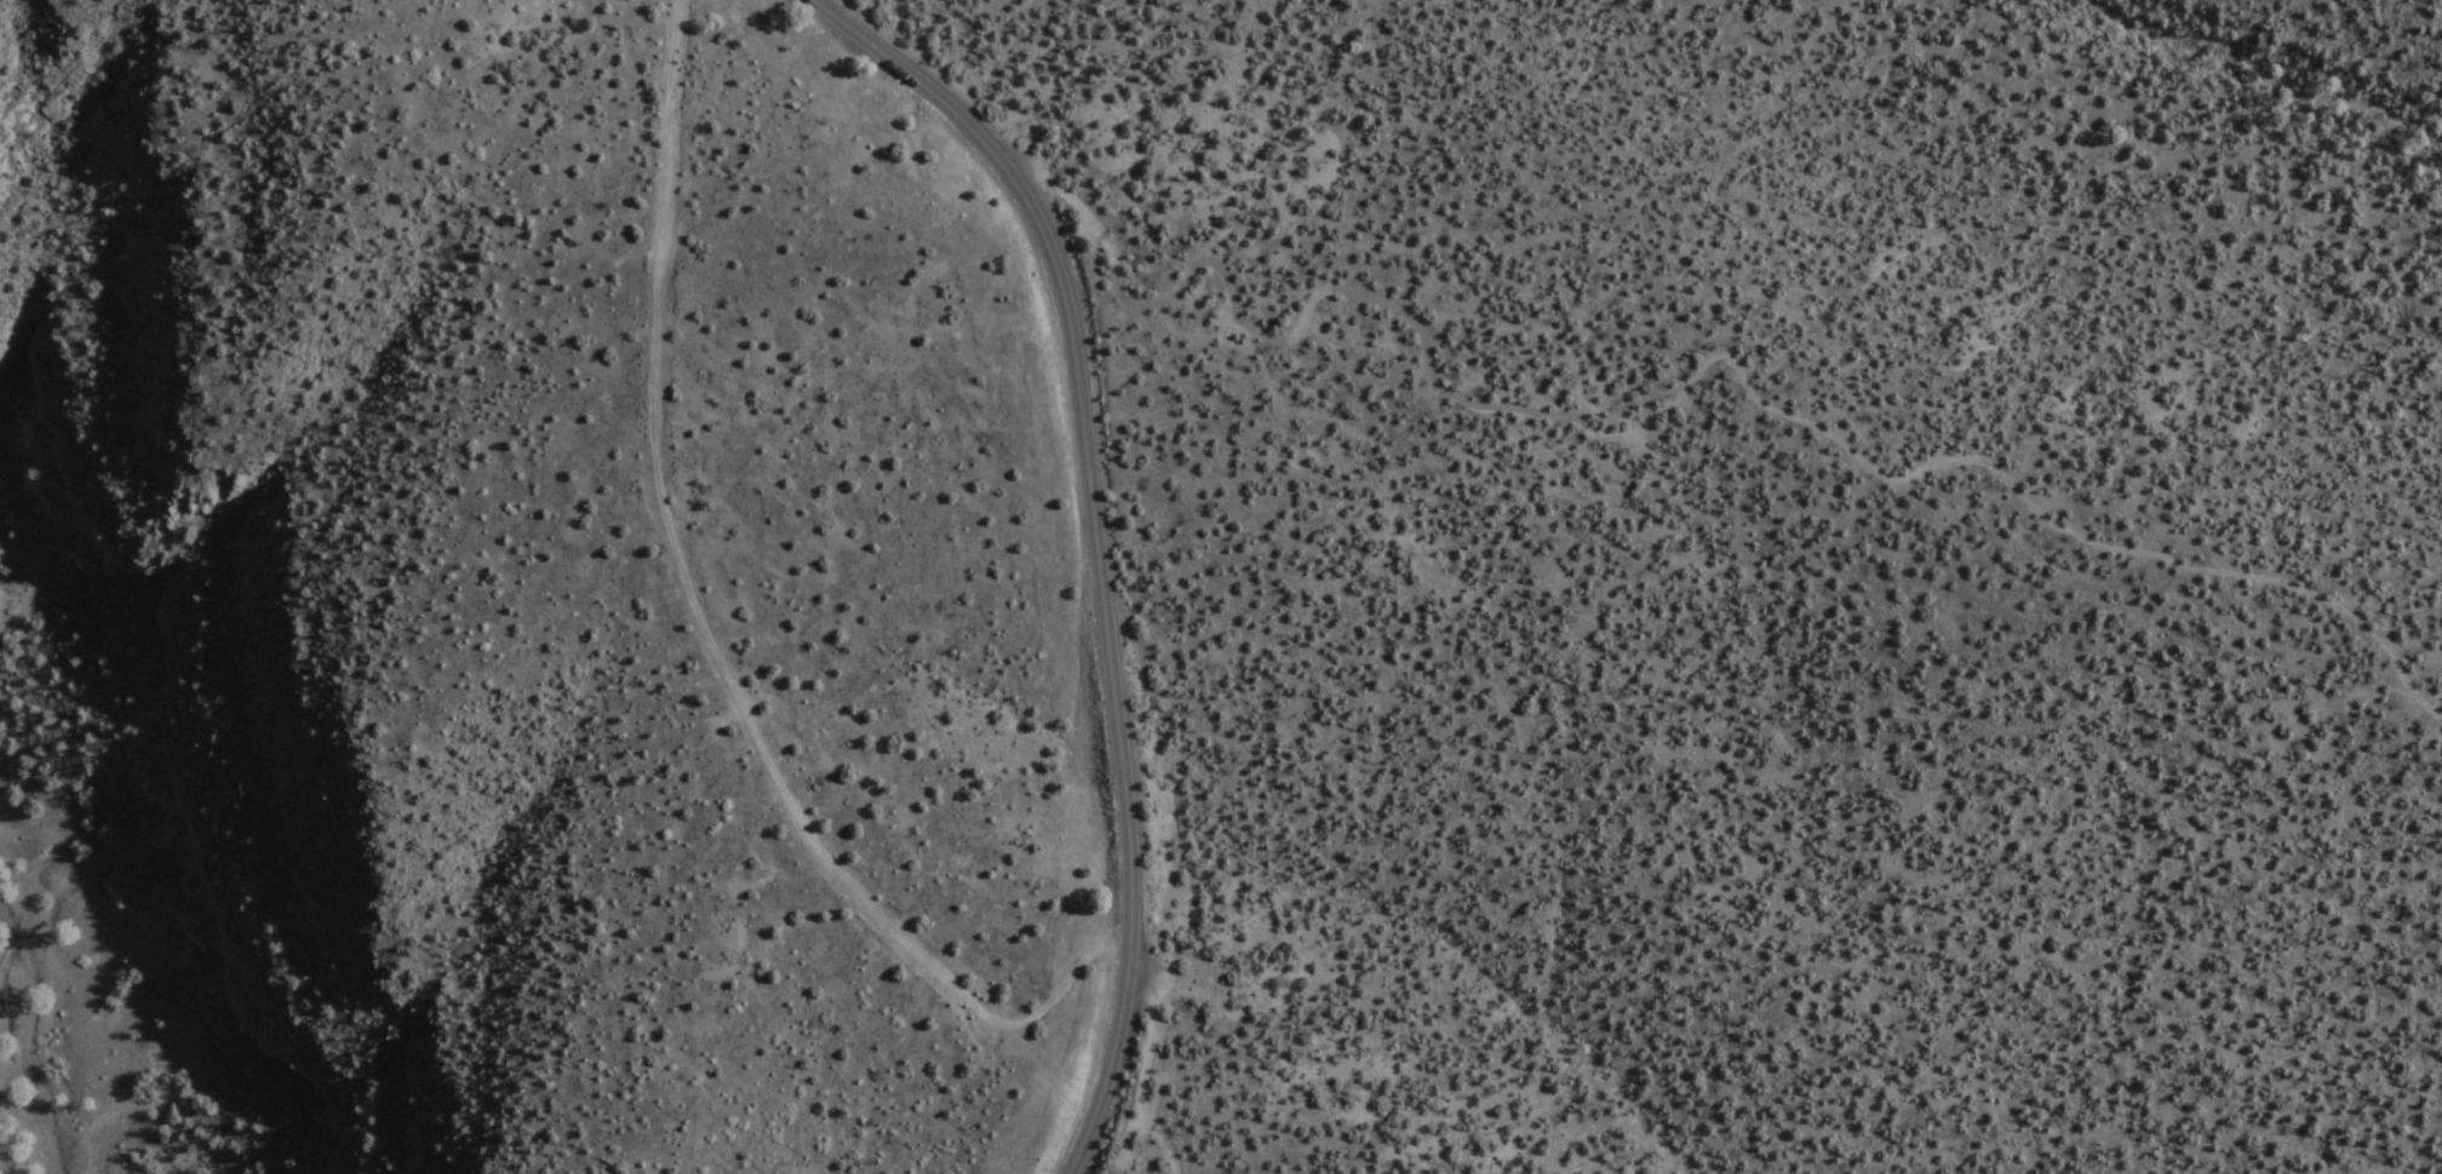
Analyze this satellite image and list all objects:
road: (1662, 410)
road: (1096, 541)
road: (1131, 1144)

